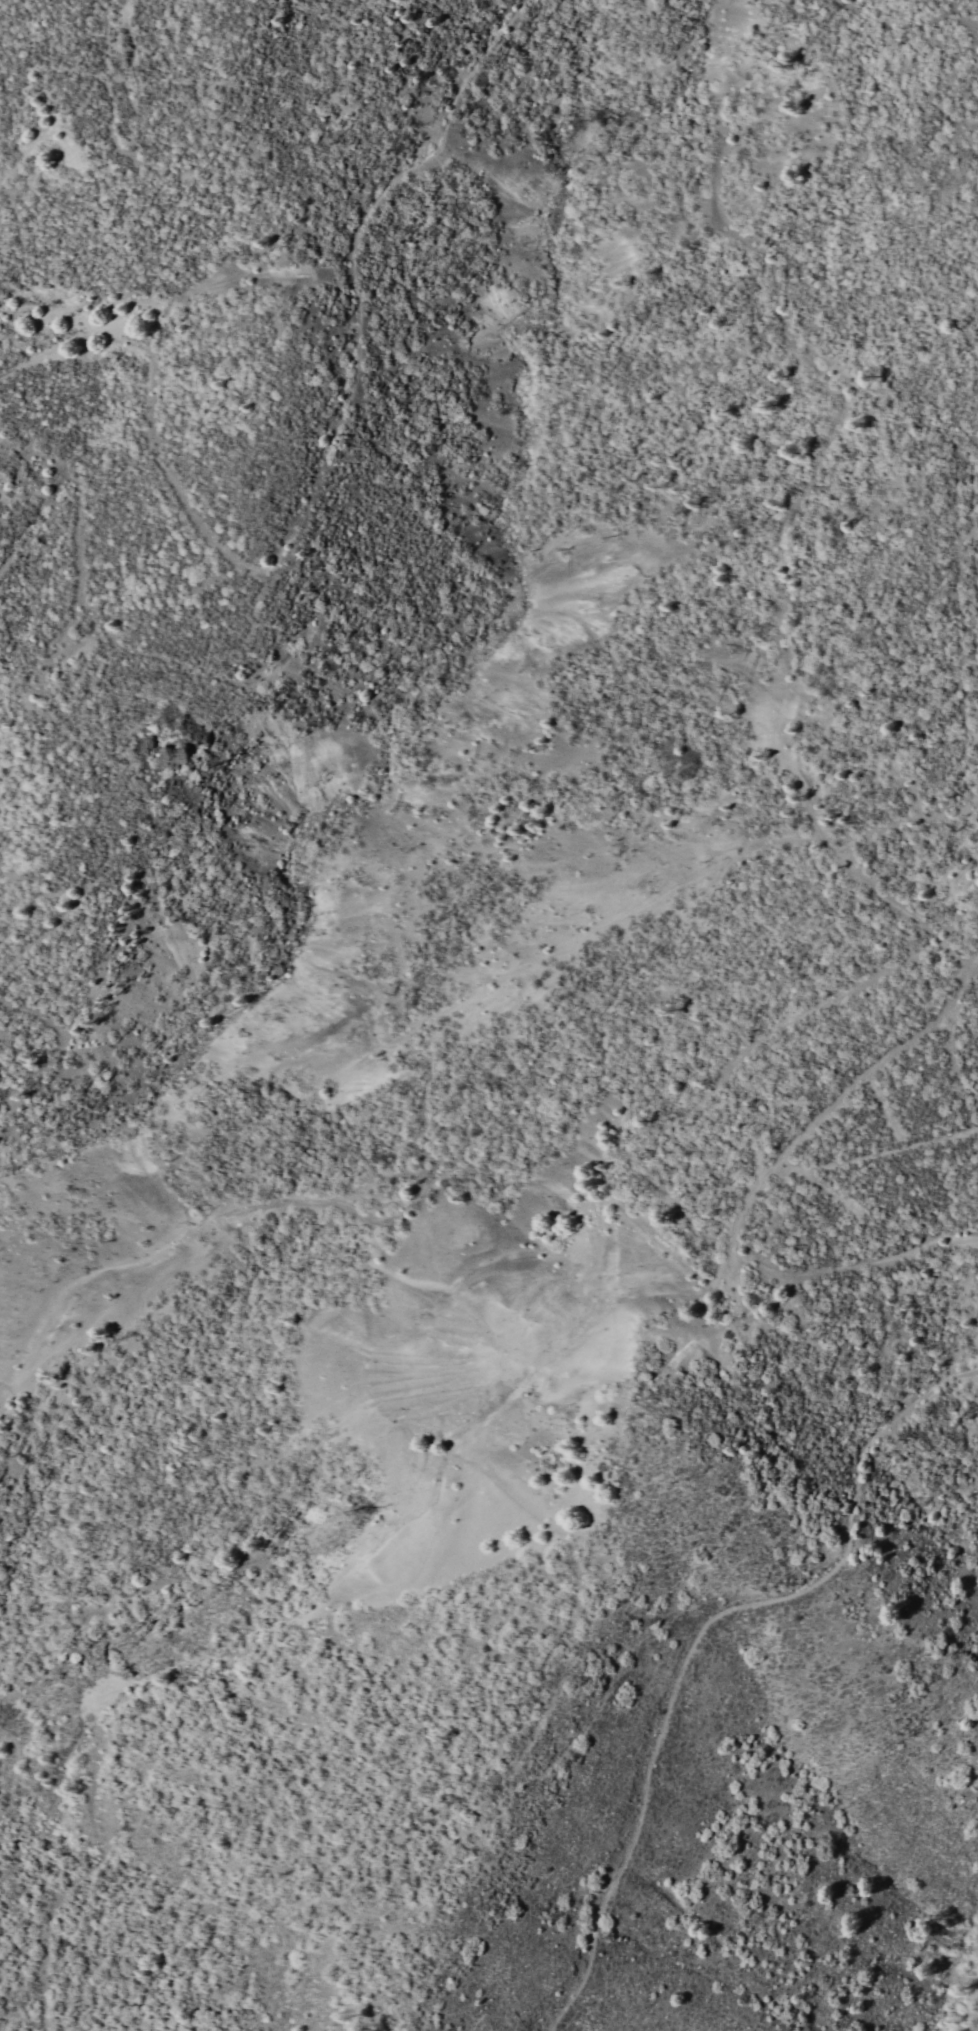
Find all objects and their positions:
quarry: (513, 1140)
road: (692, 1642)

